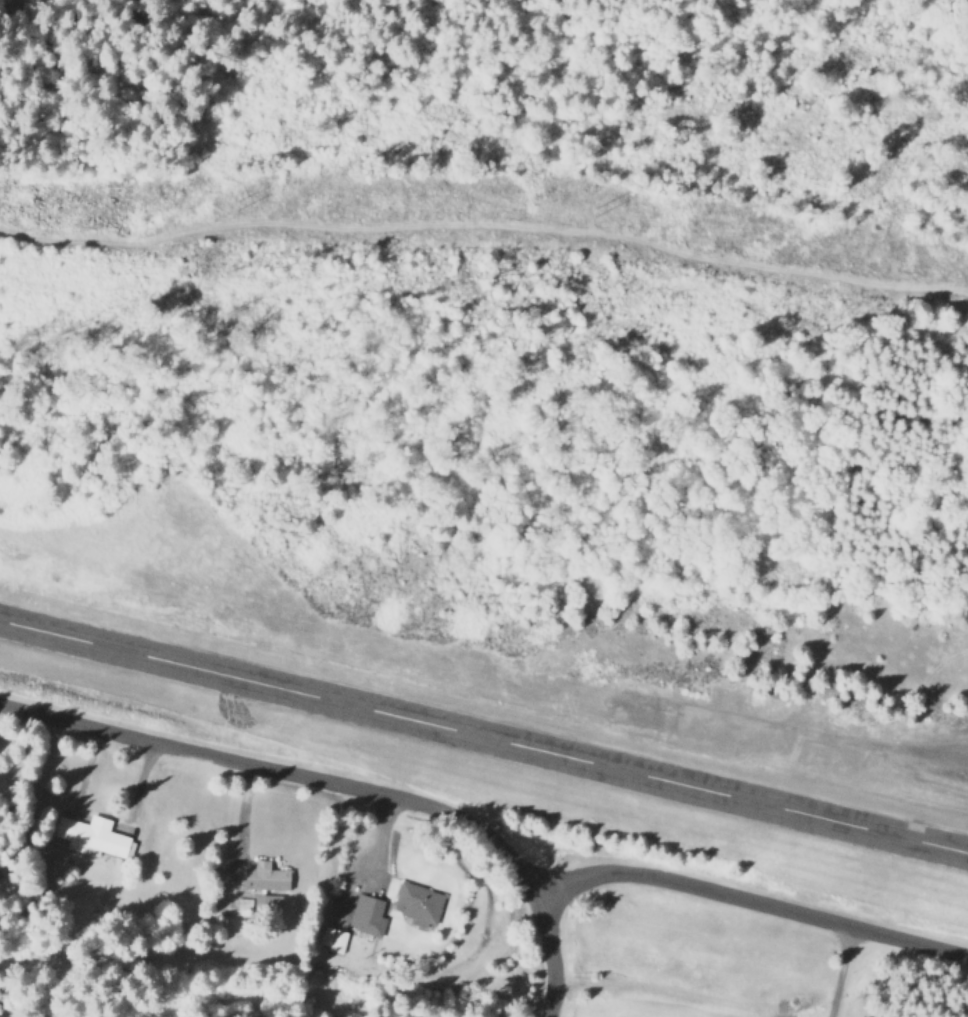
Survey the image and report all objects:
road: (485, 226)
airport: (497, 727)
airport runway: (484, 737)
road: (343, 786)
building: (90, 836)
building: (268, 876)
building: (416, 902)
road: (752, 903)
building: (260, 904)
building: (364, 913)
building: (332, 938)

